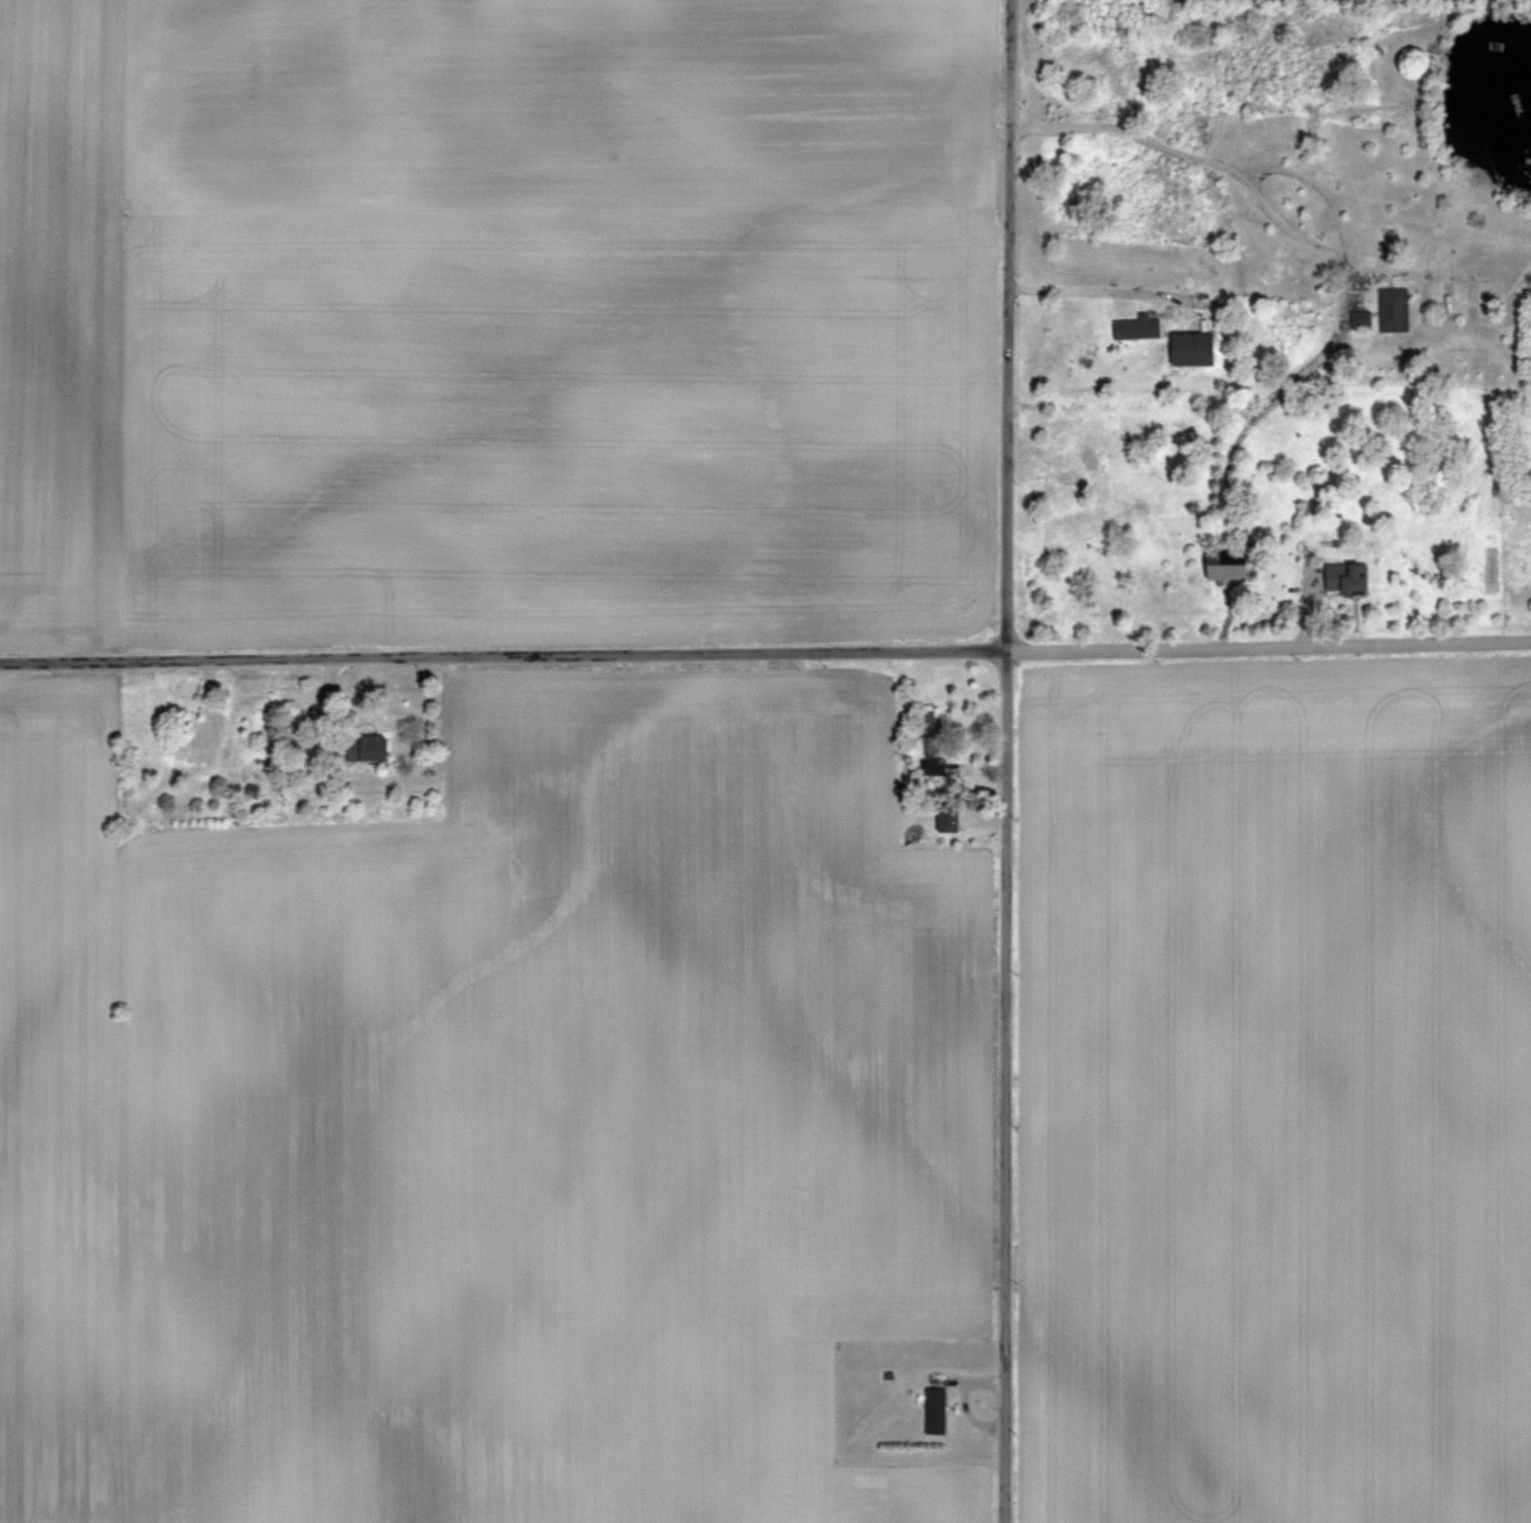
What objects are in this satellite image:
road: (1275, 222)
road: (1444, 274)
road: (1107, 295)
building: (1396, 310)
building: (1139, 328)
building: (1195, 350)
road: (1218, 409)
road: (1221, 529)
building: (1228, 565)
building: (1346, 579)
road: (765, 653)
building: (933, 730)
building: (371, 748)
building: (188, 749)
road: (1006, 761)
building: (937, 766)
building: (949, 817)
building: (937, 1410)

